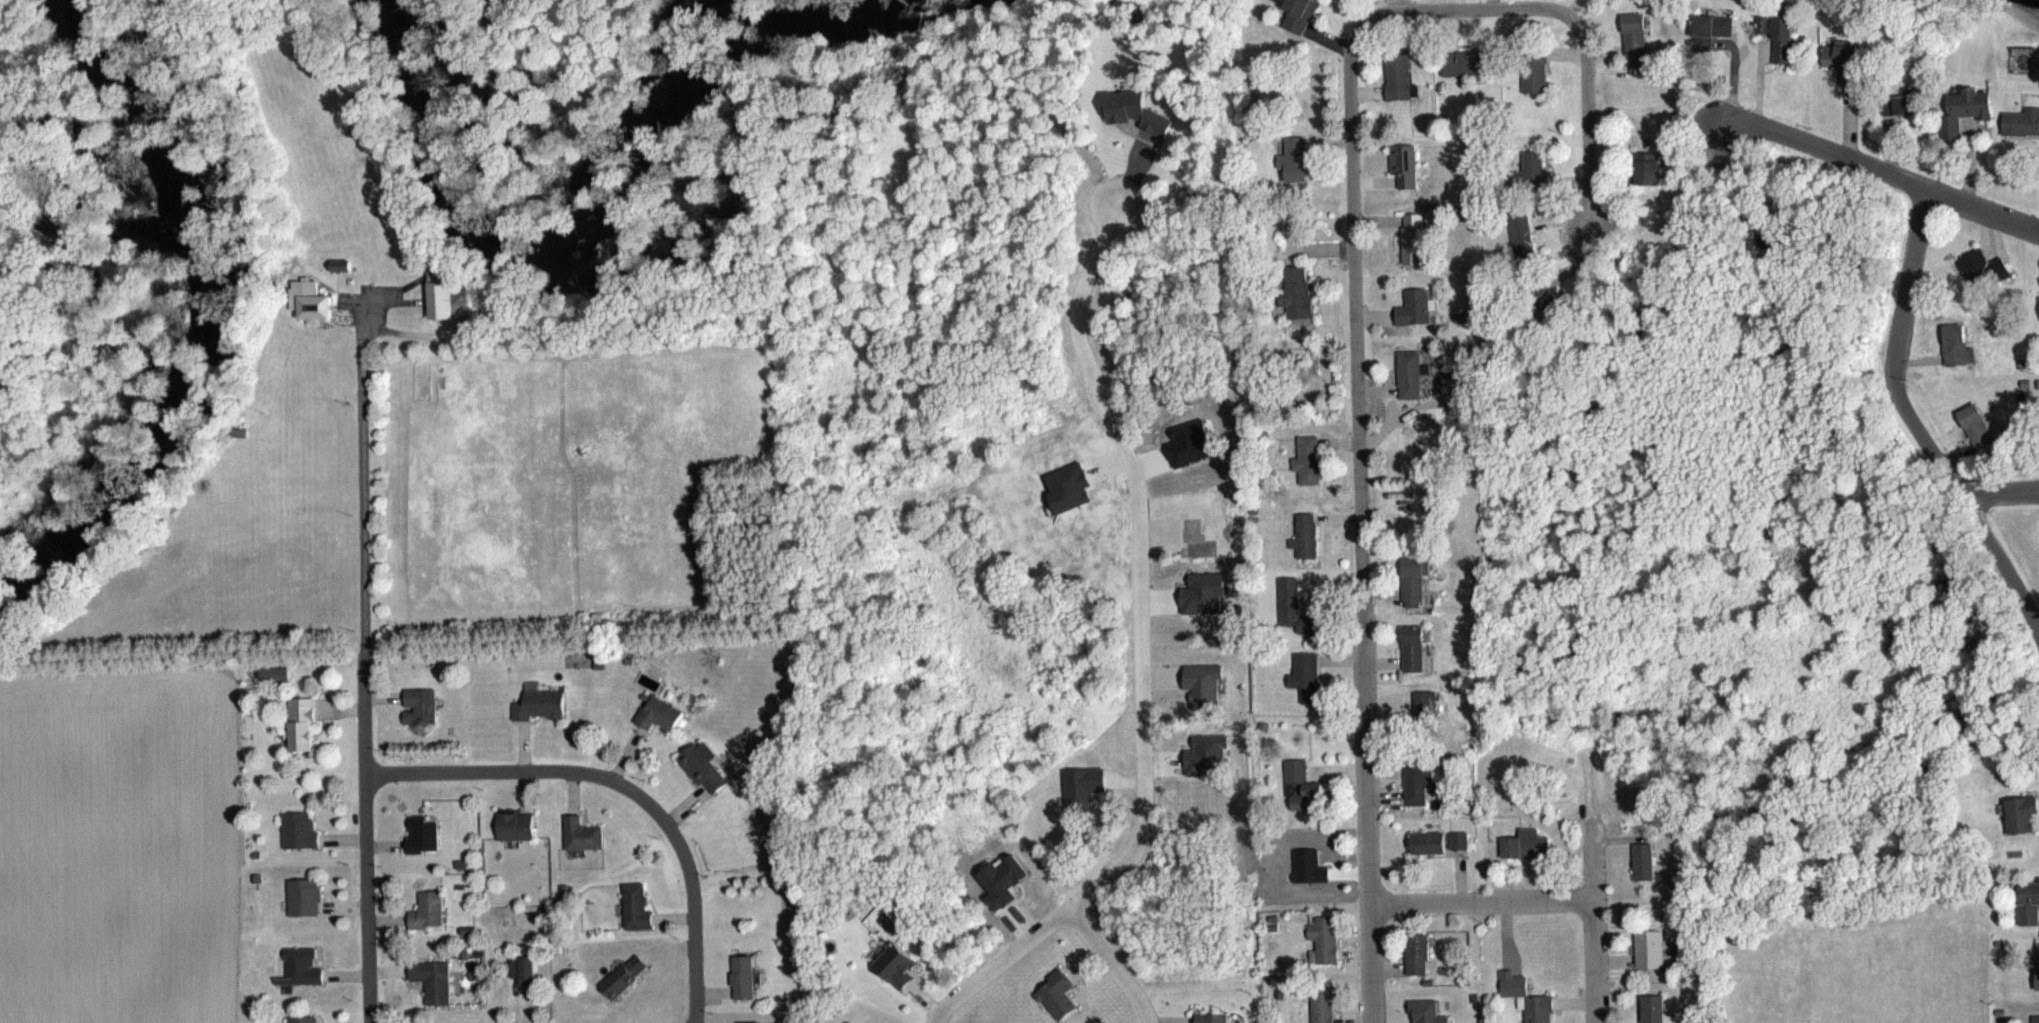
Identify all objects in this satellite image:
building: (1299, 14)
building: (1704, 25)
building: (1627, 34)
building: (1771, 34)
building: (1831, 54)
building: (1458, 62)
building: (1528, 70)
building: (1395, 75)
building: (1889, 103)
building: (1959, 108)
building: (2018, 121)
building: (1295, 158)
building: (1404, 165)
building: (1641, 167)
road: (1876, 167)
building: (1521, 171)
building: (1517, 235)
building: (1414, 237)
river: (572, 240)
building: (1976, 270)
building: (1300, 291)
building: (1549, 297)
building: (450, 298)
building: (320, 300)
building: (1418, 305)
road: (1355, 307)
building: (2036, 310)
river: (213, 316)
building: (1949, 345)
building: (1414, 373)
building: (1970, 425)
road: (1914, 426)
building: (1309, 454)
road: (361, 480)
road: (2001, 493)
building: (1309, 534)
building: (1419, 580)
building: (1292, 600)
building: (1419, 647)
road: (1140, 649)
building: (1309, 675)
building: (544, 703)
building: (424, 704)
building: (1426, 704)
road: (362, 711)
building: (662, 712)
building: (305, 722)
building: (707, 765)
building: (1297, 769)
building: (1419, 780)
road: (623, 785)
building: (2014, 813)
building: (519, 824)
building: (301, 828)
building: (426, 832)
building: (585, 832)
building: (1440, 839)
building: (1531, 843)
building: (1644, 857)
building: (306, 895)
road: (366, 897)
building: (2023, 901)
road: (1481, 902)
building: (638, 906)
building: (431, 909)
road: (1594, 933)
building: (1325, 935)
building: (1649, 947)
building: (1422, 953)
road: (1110, 962)
building: (902, 963)
building: (304, 965)
building: (2033, 965)
building: (524, 969)
building: (626, 975)
building: (468, 976)
building: (745, 976)
building: (434, 979)
building: (1323, 1004)
building: (1539, 1007)
building: (1653, 1008)
building: (1426, 1011)
building: (1216, 1017)
building: (2032, 1018)
building: (306, 1019)
building: (750, 1021)

